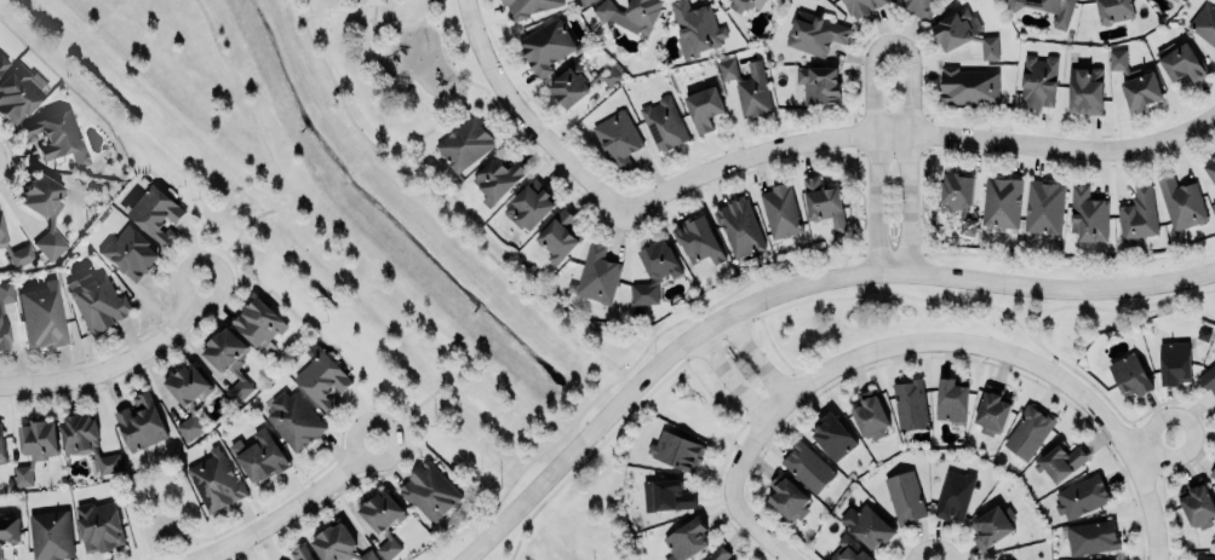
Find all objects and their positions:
building: (372, 1)
building: (583, 1)
building: (745, 4)
building: (1014, 4)
building: (528, 6)
building: (860, 6)
building: (917, 6)
building: (1113, 10)
building: (1058, 11)
road: (424, 12)
building: (630, 13)
road: (441, 16)
road: (415, 23)
building: (1204, 23)
building: (697, 25)
building: (963, 31)
building: (814, 33)
road: (371, 41)
road: (889, 42)
building: (546, 45)
park: (403, 60)
building: (2, 62)
building: (1182, 63)
building: (1037, 80)
building: (1135, 81)
building: (578, 82)
building: (818, 85)
building: (968, 85)
building: (746, 86)
building: (1084, 90)
building: (17, 92)
building: (704, 108)
road: (526, 121)
building: (664, 123)
building: (56, 135)
road: (916, 137)
building: (618, 139)
building: (464, 143)
building: (1211, 168)
building: (497, 179)
road: (924, 195)
building: (958, 198)
building: (824, 202)
building: (1001, 202)
building: (1181, 202)
building: (1214, 204)
road: (430, 206)
building: (531, 206)
building: (1043, 207)
building: (45, 210)
park: (339, 212)
building: (780, 212)
building: (155, 213)
building: (1137, 214)
building: (1087, 215)
building: (740, 226)
road: (237, 229)
building: (1, 233)
building: (558, 237)
building: (698, 239)
road: (344, 241)
building: (130, 253)
building: (19, 254)
building: (654, 269)
road: (1062, 270)
building: (598, 275)
road: (787, 288)
building: (97, 300)
building: (44, 314)
building: (258, 323)
building: (2, 325)
road: (1037, 325)
road: (919, 341)
road: (752, 357)
building: (228, 360)
building: (1174, 362)
road: (116, 363)
road: (627, 365)
building: (1129, 375)
building: (320, 377)
road: (728, 377)
building: (1209, 379)
building: (950, 399)
building: (189, 400)
road: (419, 402)
building: (910, 404)
building: (991, 411)
building: (870, 415)
building: (293, 418)
building: (141, 422)
building: (1027, 432)
building: (832, 435)
building: (34, 446)
road: (1157, 446)
building: (1, 449)
building: (676, 451)
building: (258, 456)
building: (1061, 462)
building: (807, 467)
building: (1213, 473)
building: (214, 480)
building: (429, 491)
building: (669, 495)
building: (953, 496)
building: (1081, 496)
building: (904, 497)
building: (789, 500)
road: (291, 507)
road: (1152, 507)
building: (1197, 507)
building: (383, 520)
building: (866, 525)
building: (98, 526)
building: (990, 527)
road: (753, 529)
building: (8, 532)
building: (51, 535)
building: (1091, 537)
building: (684, 539)
building: (338, 544)
building: (848, 550)
building: (300, 553)
building: (717, 554)
building: (1203, 558)

